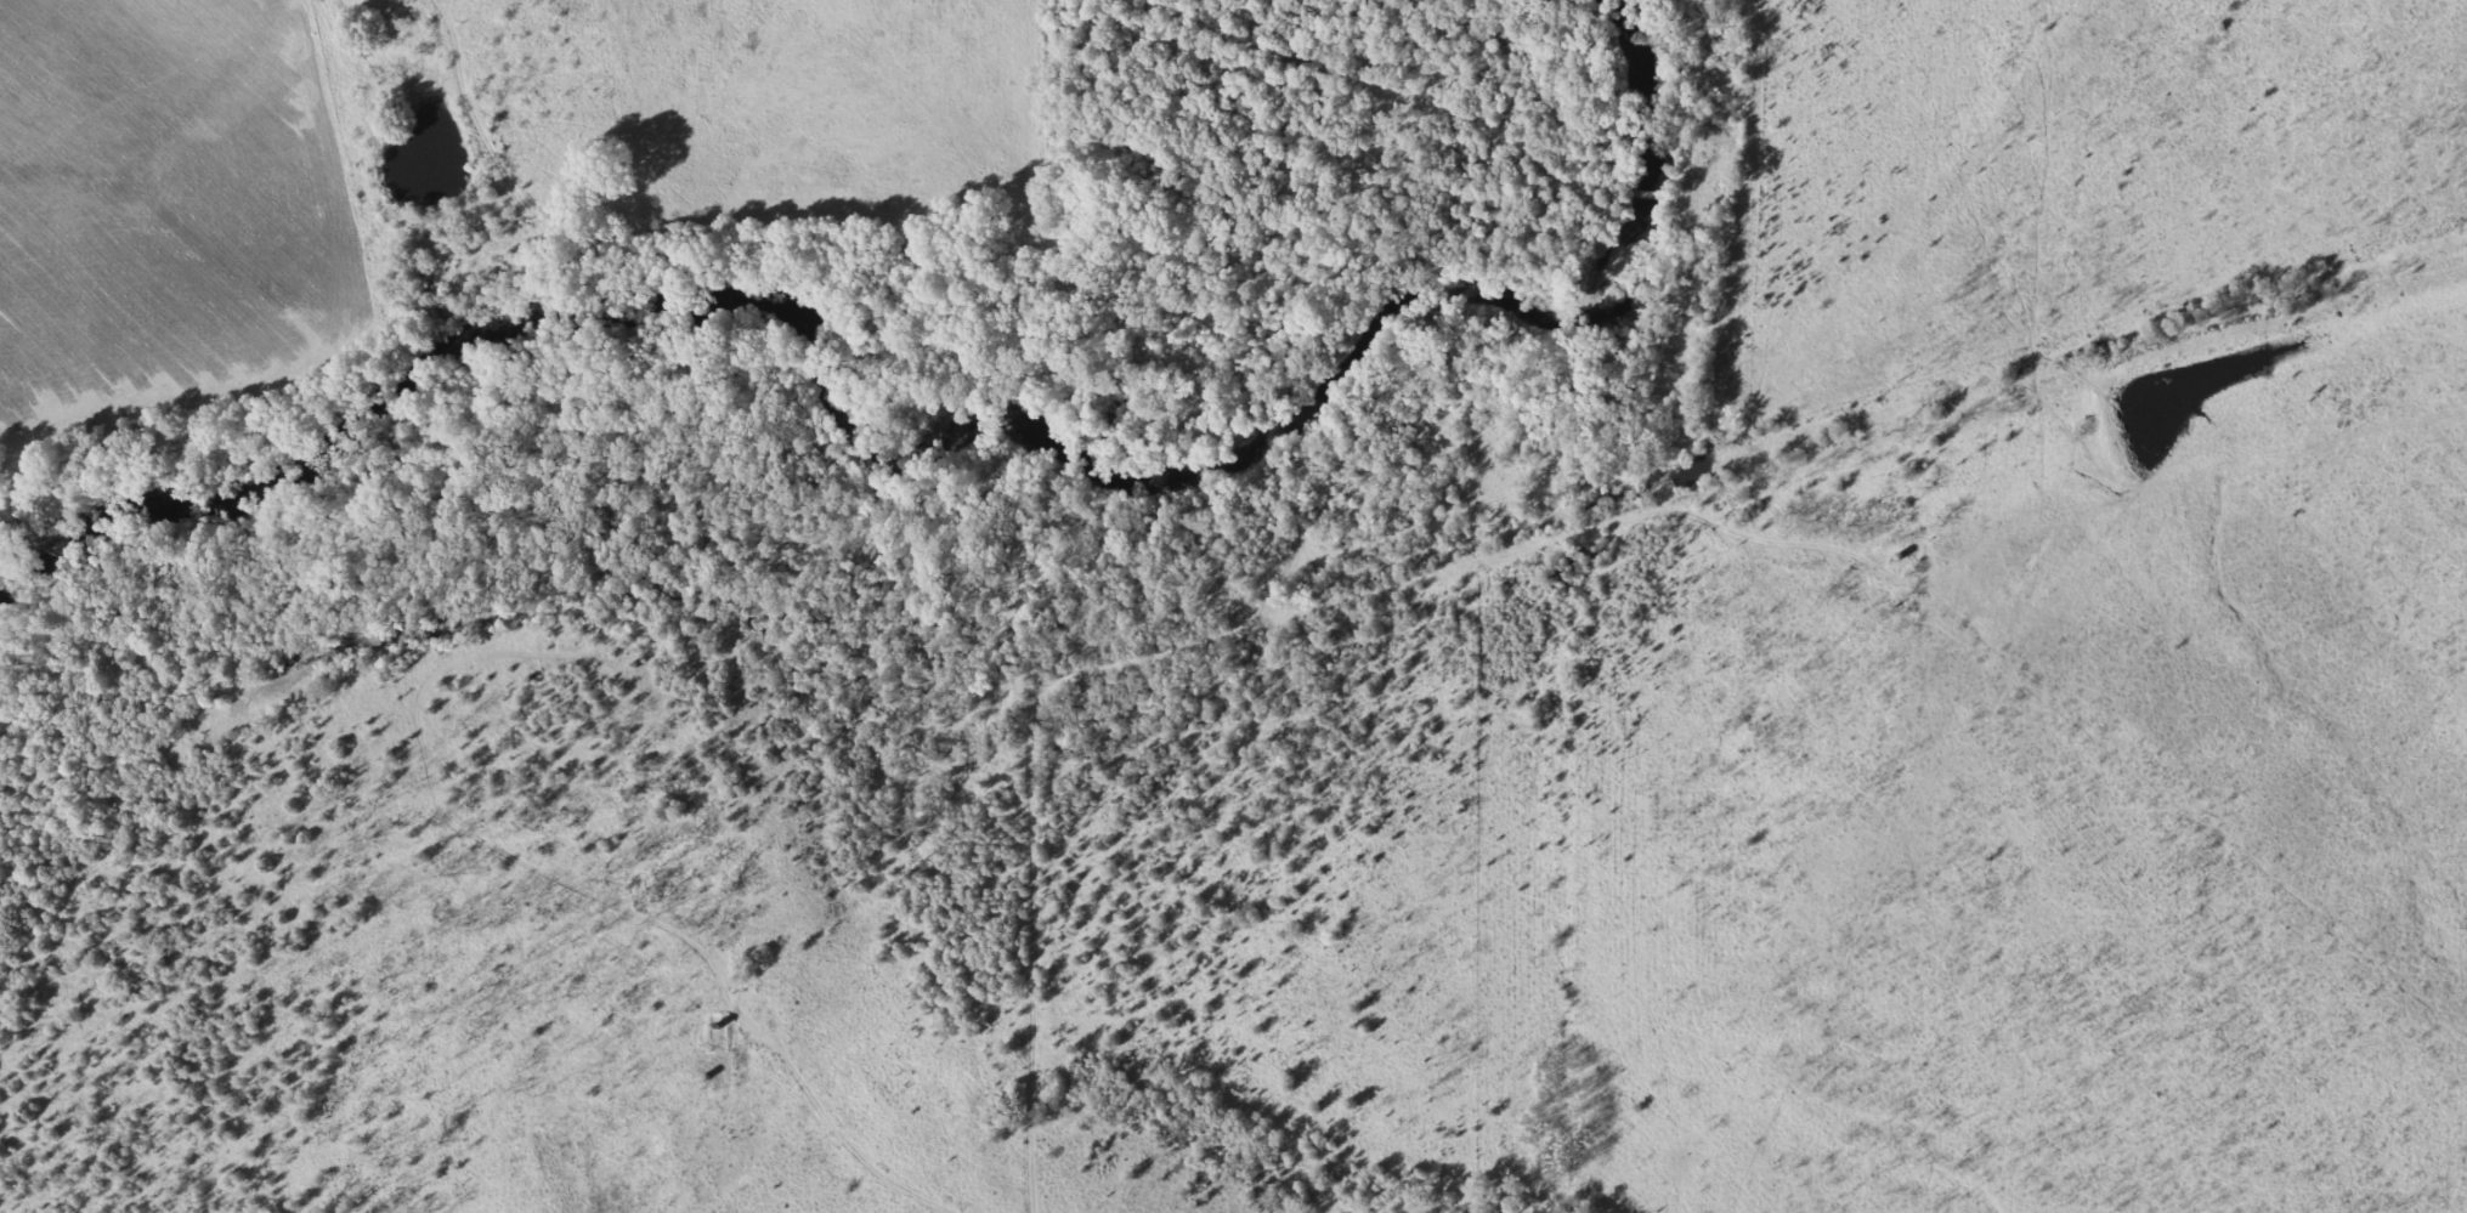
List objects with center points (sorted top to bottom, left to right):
road: (898, 262)
road: (1207, 635)
railway: (1233, 636)

